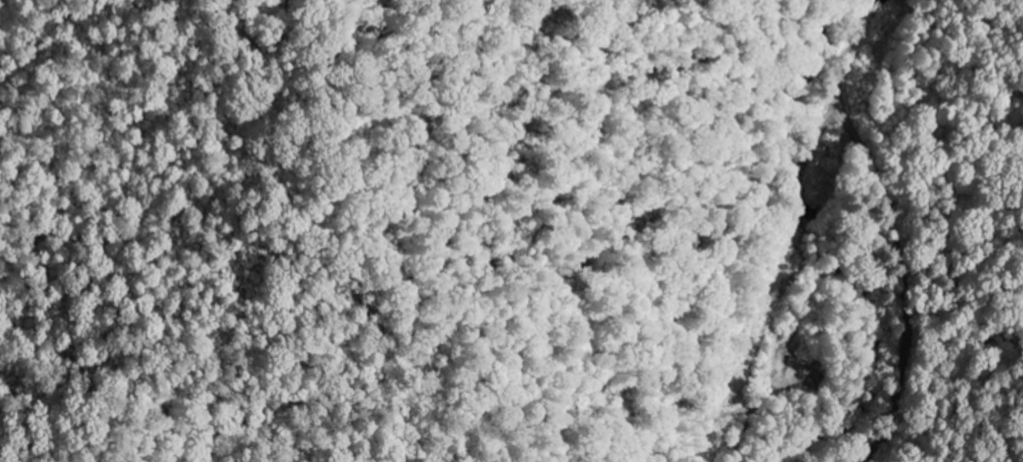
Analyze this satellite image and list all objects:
road: (843, 89)
road: (905, 322)

